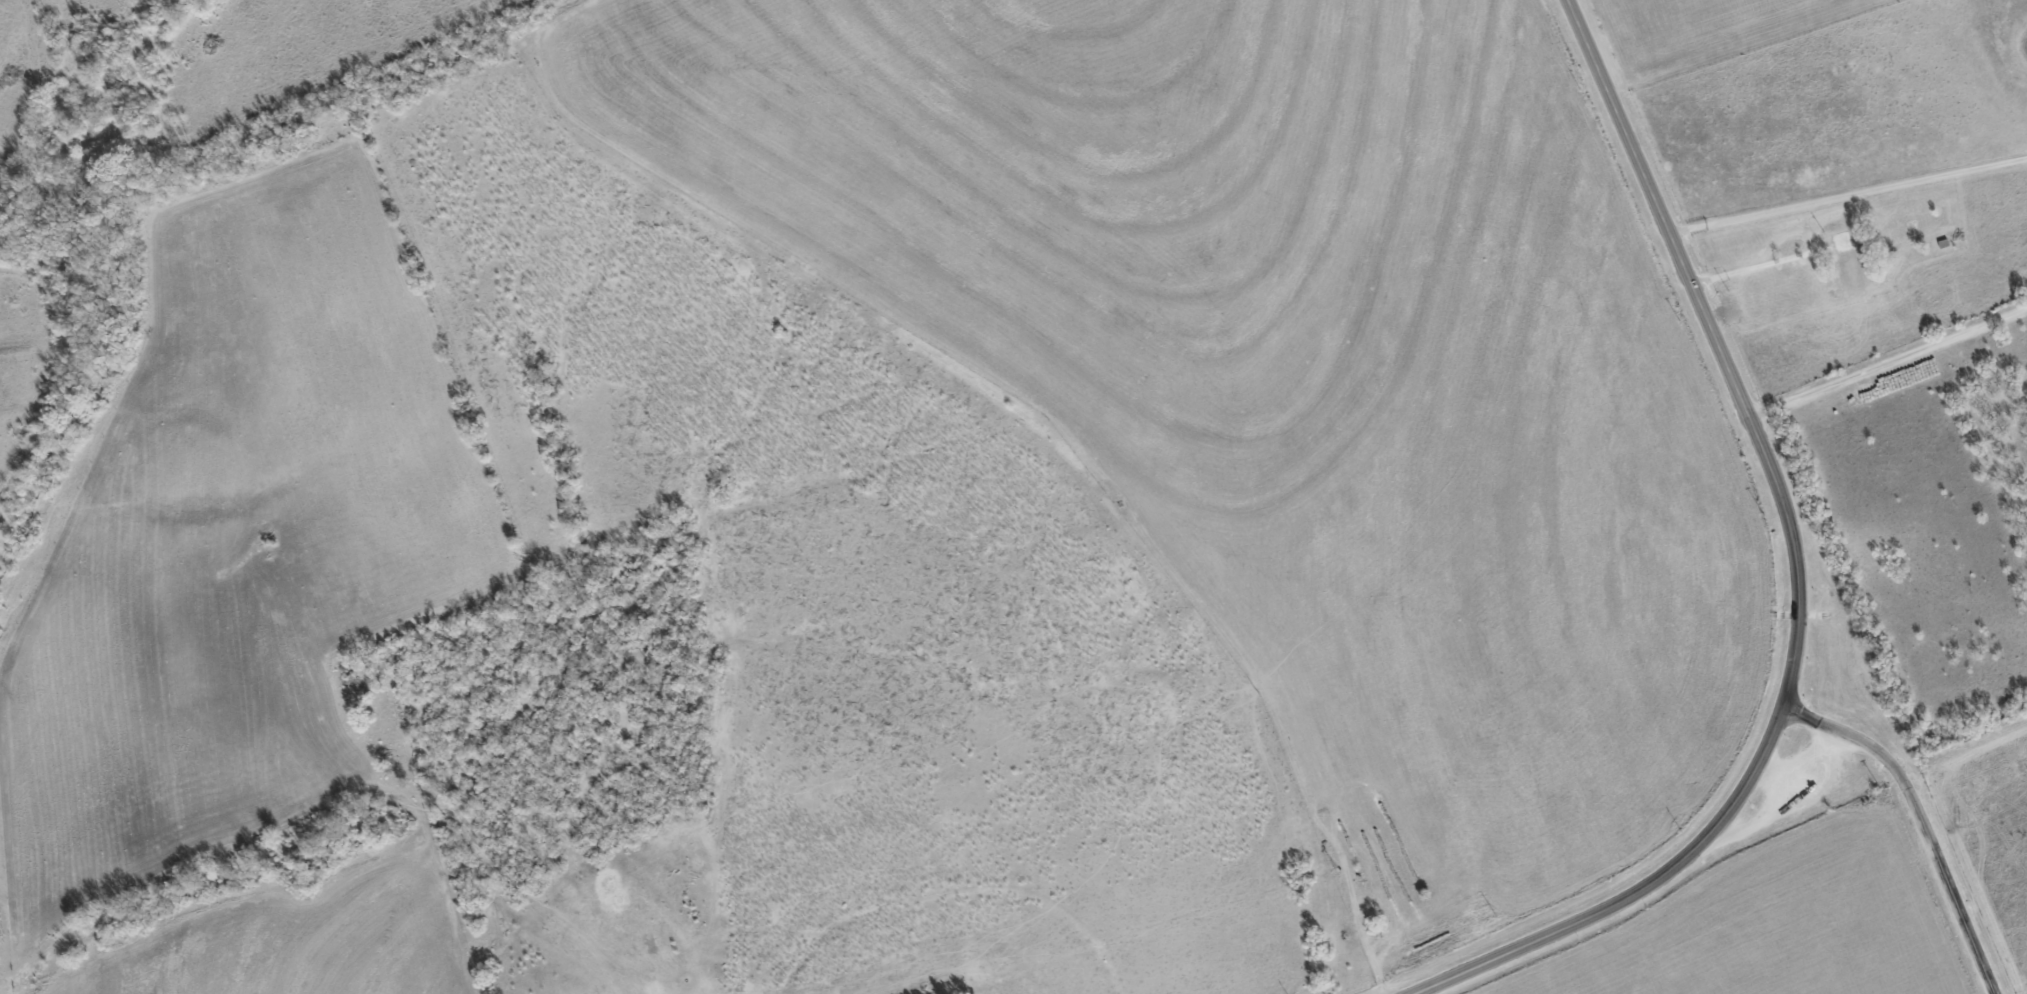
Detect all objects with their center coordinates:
road: (1848, 195)
road: (1750, 267)
road: (1888, 362)
road: (1797, 574)
road: (1920, 820)

